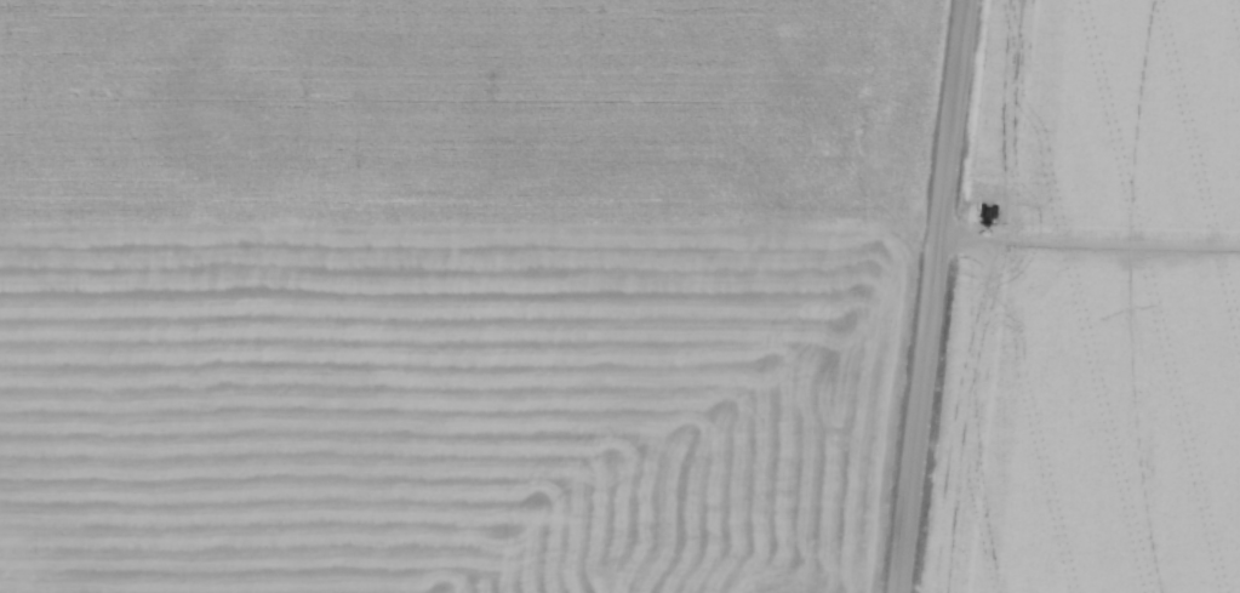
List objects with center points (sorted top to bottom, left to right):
crop: (452, 292)
road: (932, 296)
crop: (1096, 308)

